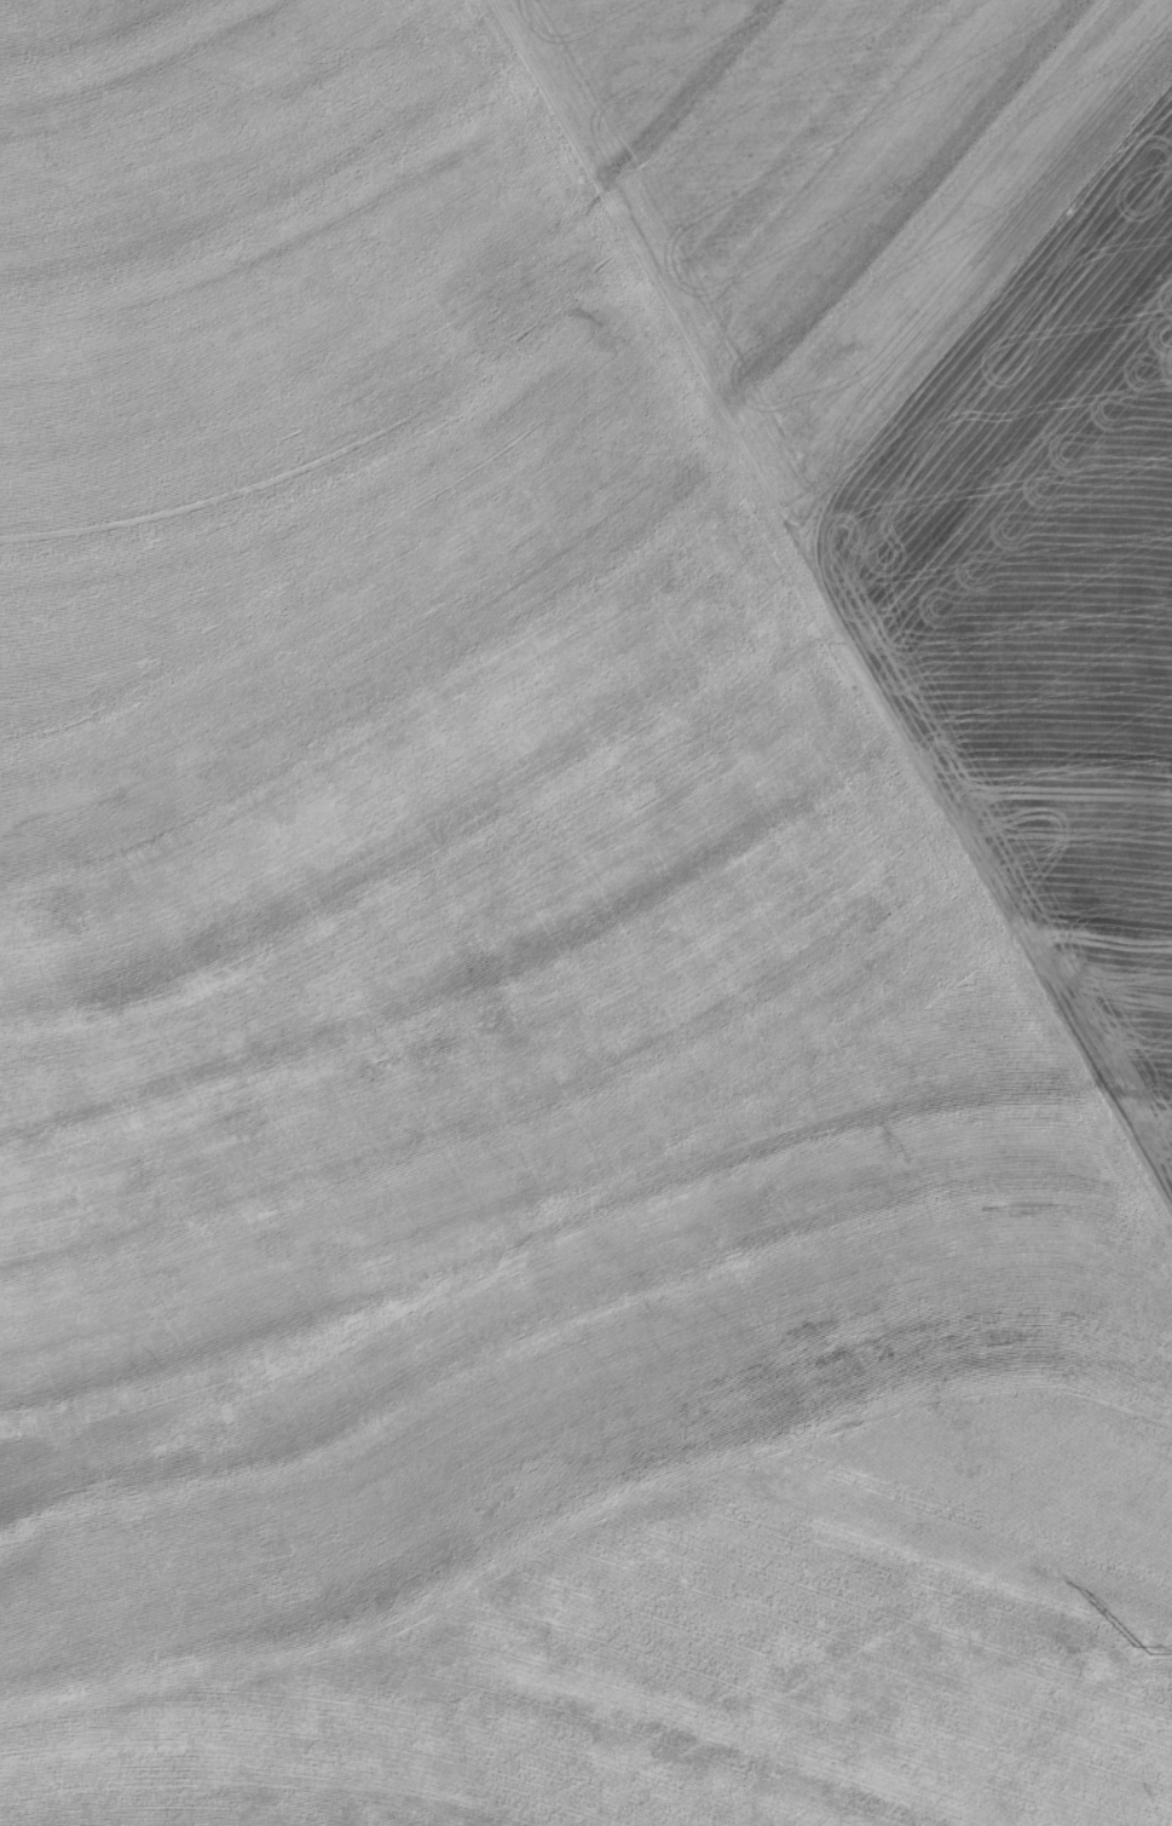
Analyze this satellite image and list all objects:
power tower: (1142, 1653)

